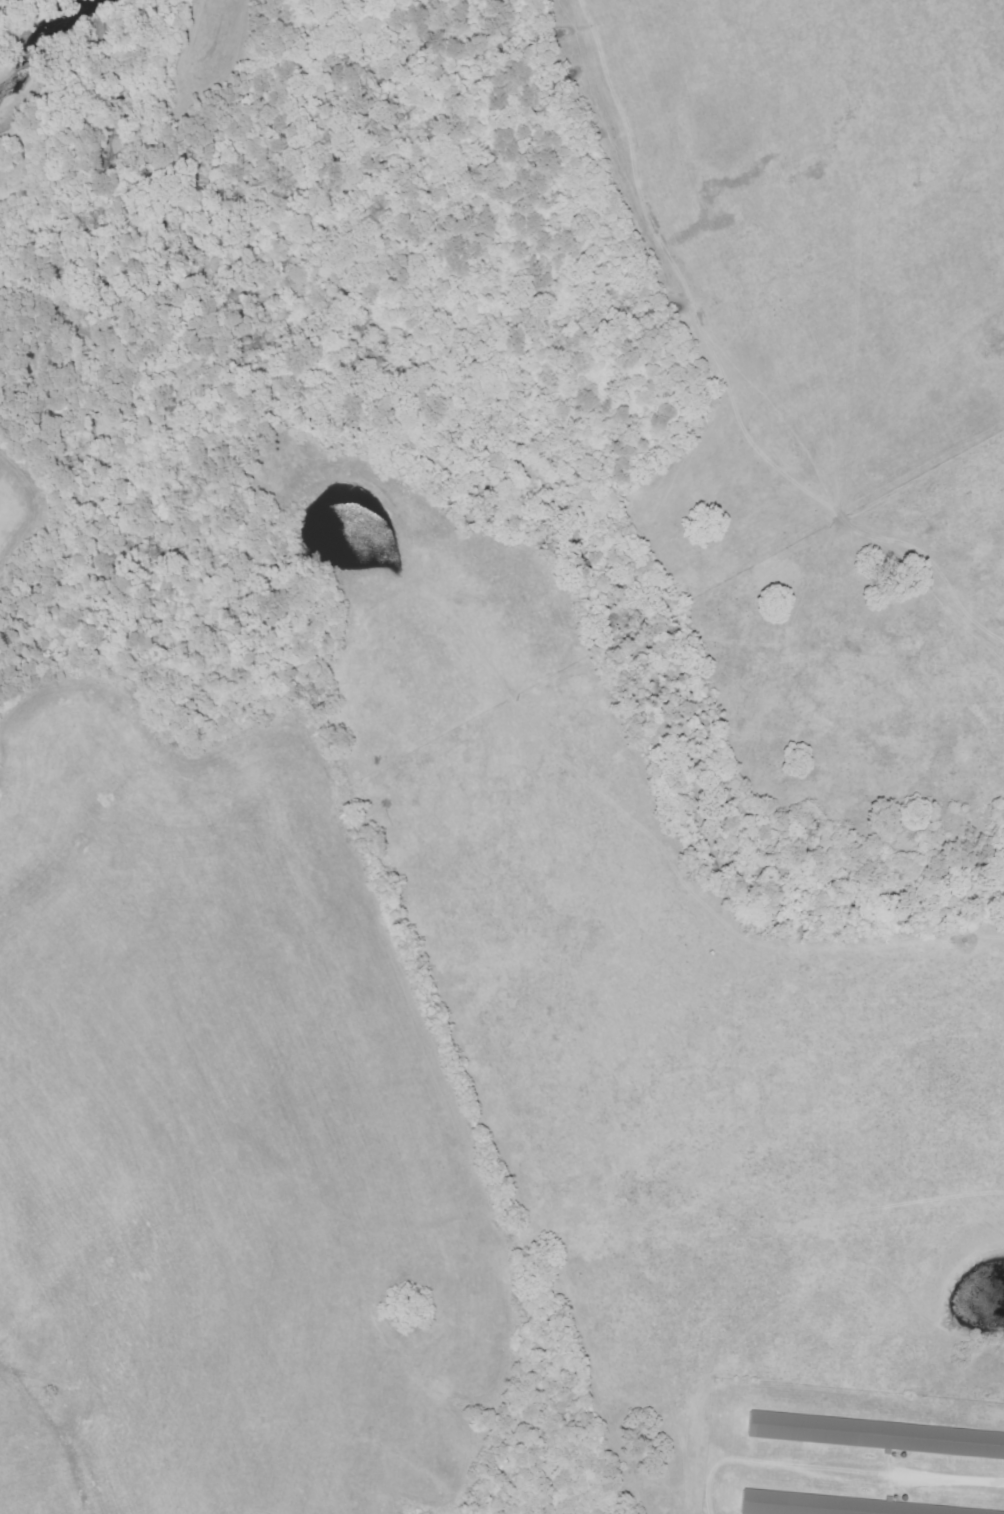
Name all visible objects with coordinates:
building: (875, 1434)
road: (949, 1477)
building: (844, 1505)

